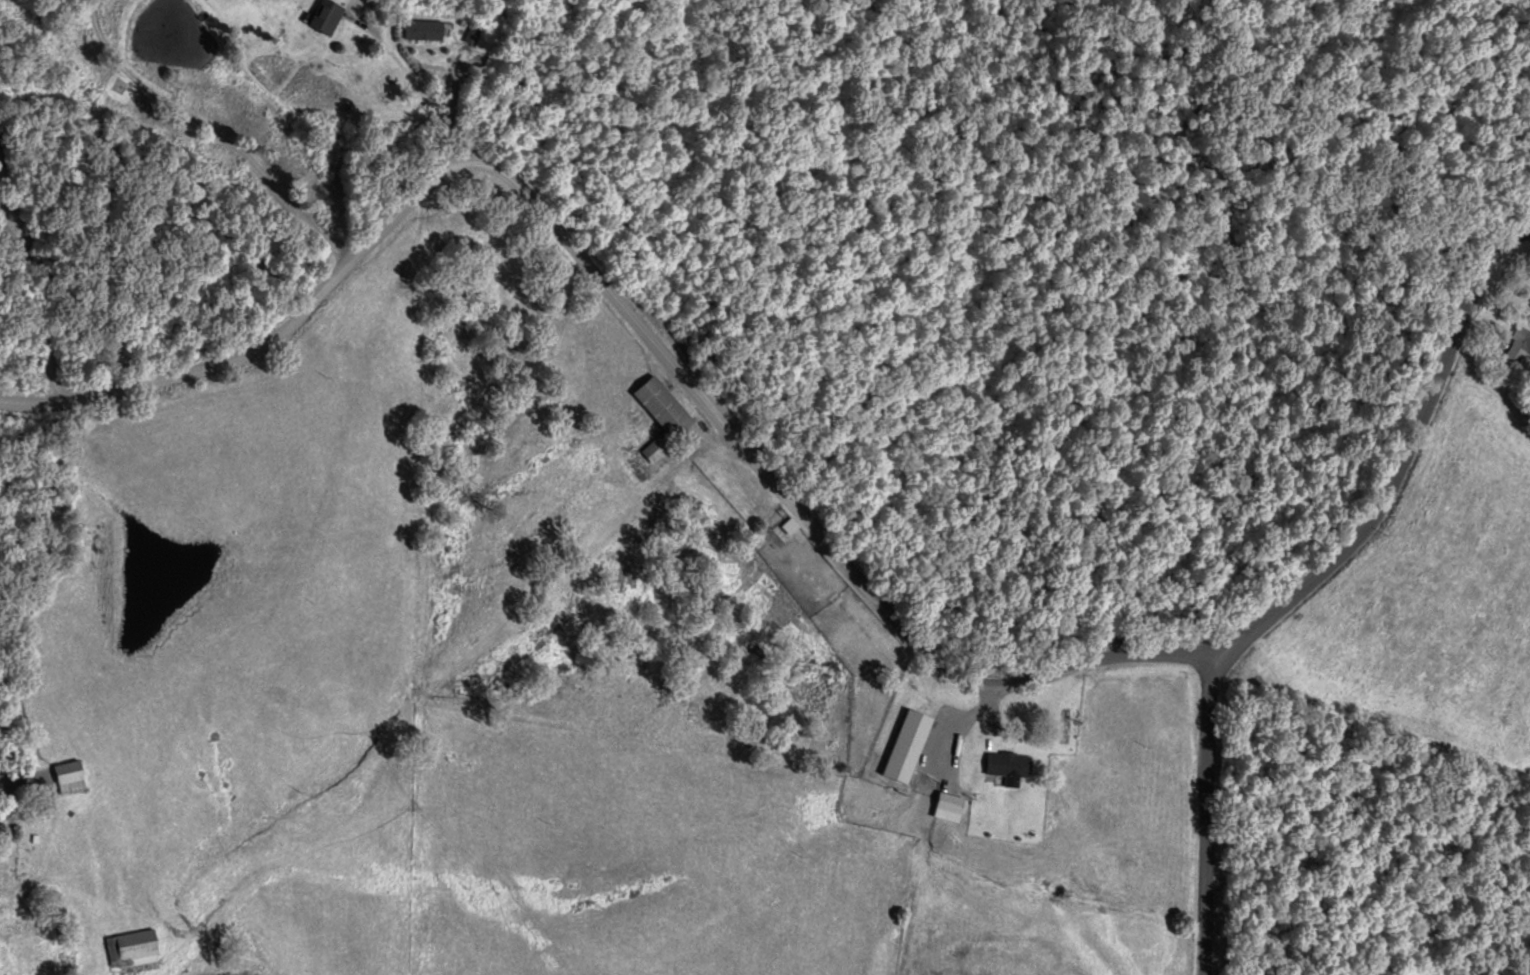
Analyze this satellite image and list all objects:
building: (325, 18)
building: (424, 29)
road: (401, 112)
building: (1520, 340)
road: (603, 347)
building: (660, 415)
road: (1377, 482)
building: (788, 528)
building: (905, 746)
building: (1005, 763)
building: (68, 777)
building: (947, 807)
road: (1189, 821)
building: (6, 916)
building: (133, 948)

